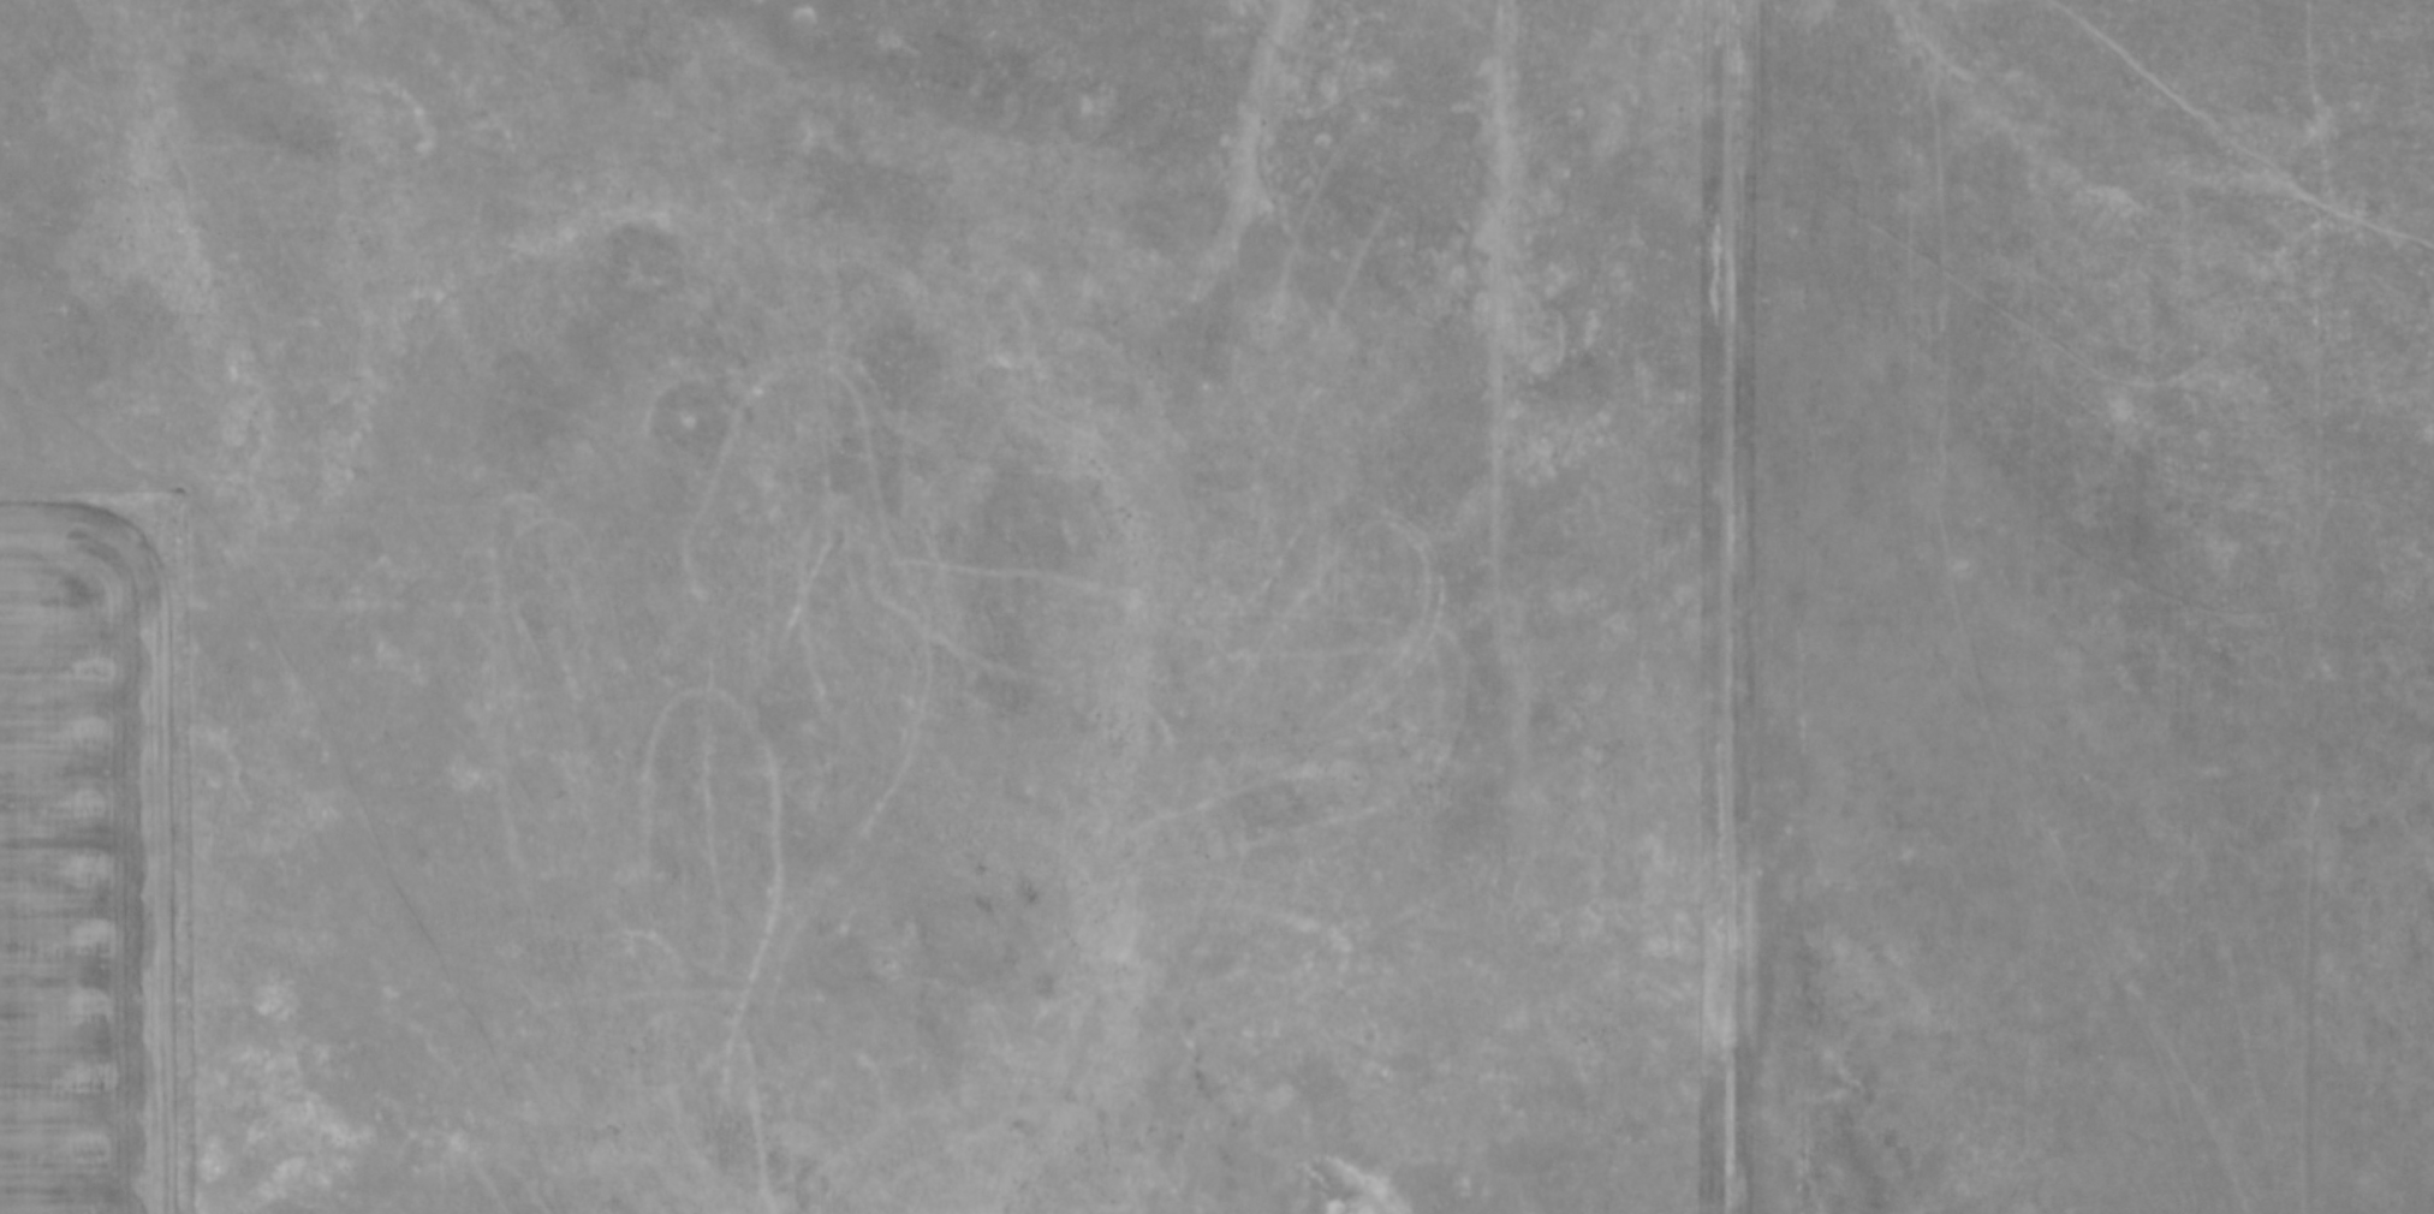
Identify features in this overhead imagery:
road: (1734, 606)

